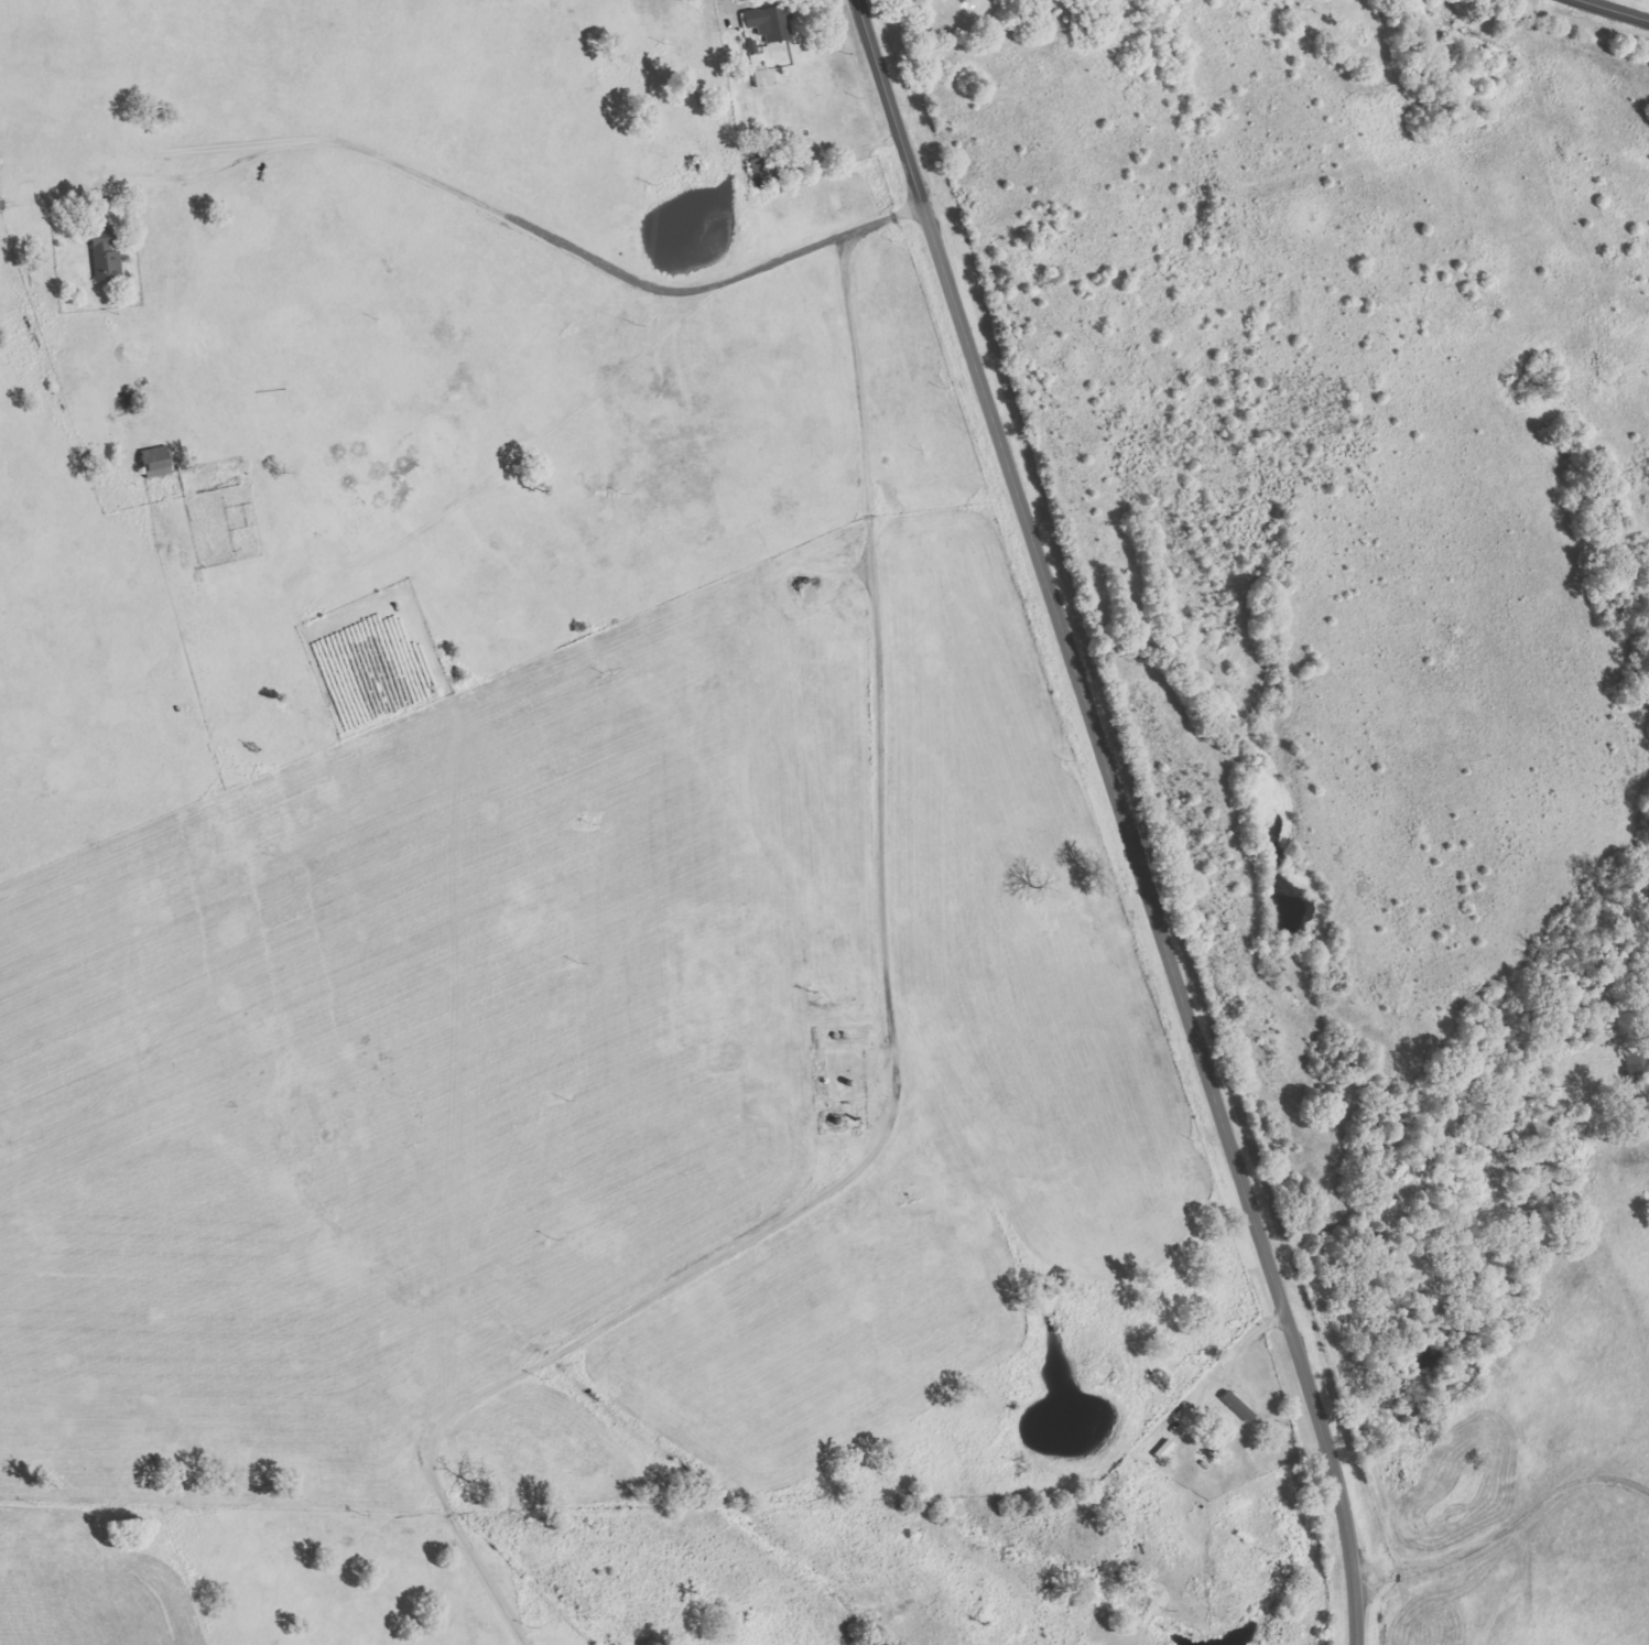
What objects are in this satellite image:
road: (1615, 10)
building: (771, 23)
building: (764, 78)
building: (763, 172)
road: (432, 180)
building: (106, 259)
building: (156, 462)
road: (1125, 819)
road: (890, 1037)
building: (1638, 1067)
building: (1238, 1406)

